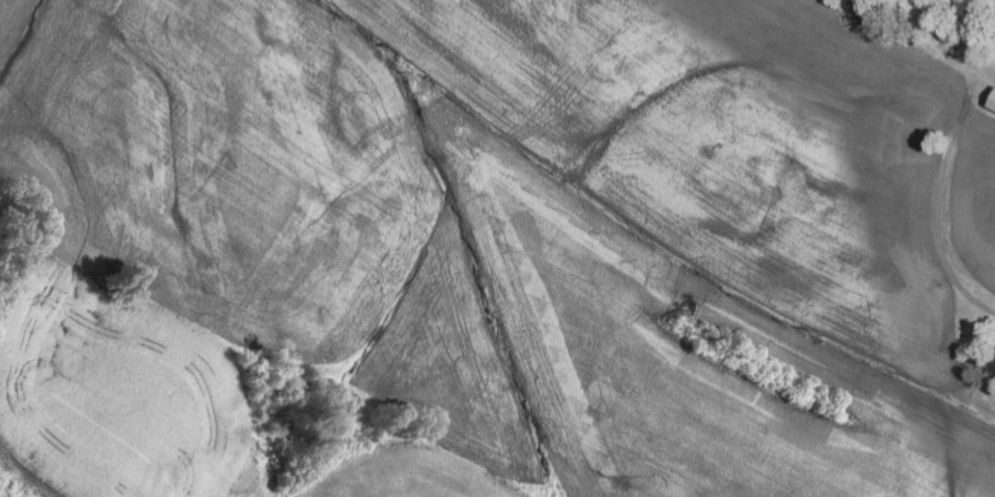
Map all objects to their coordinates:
building: (992, 104)

